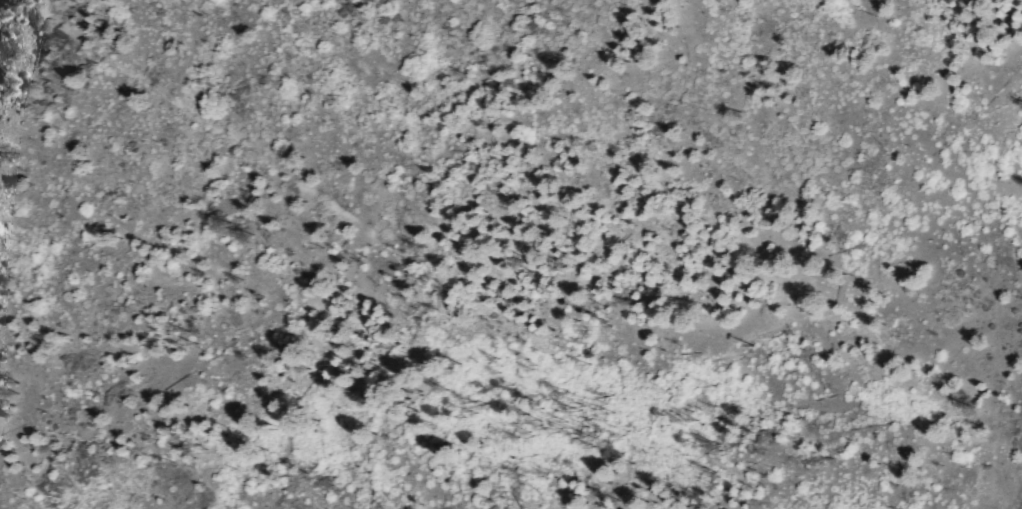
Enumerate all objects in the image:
airstrip: (200, 118)

